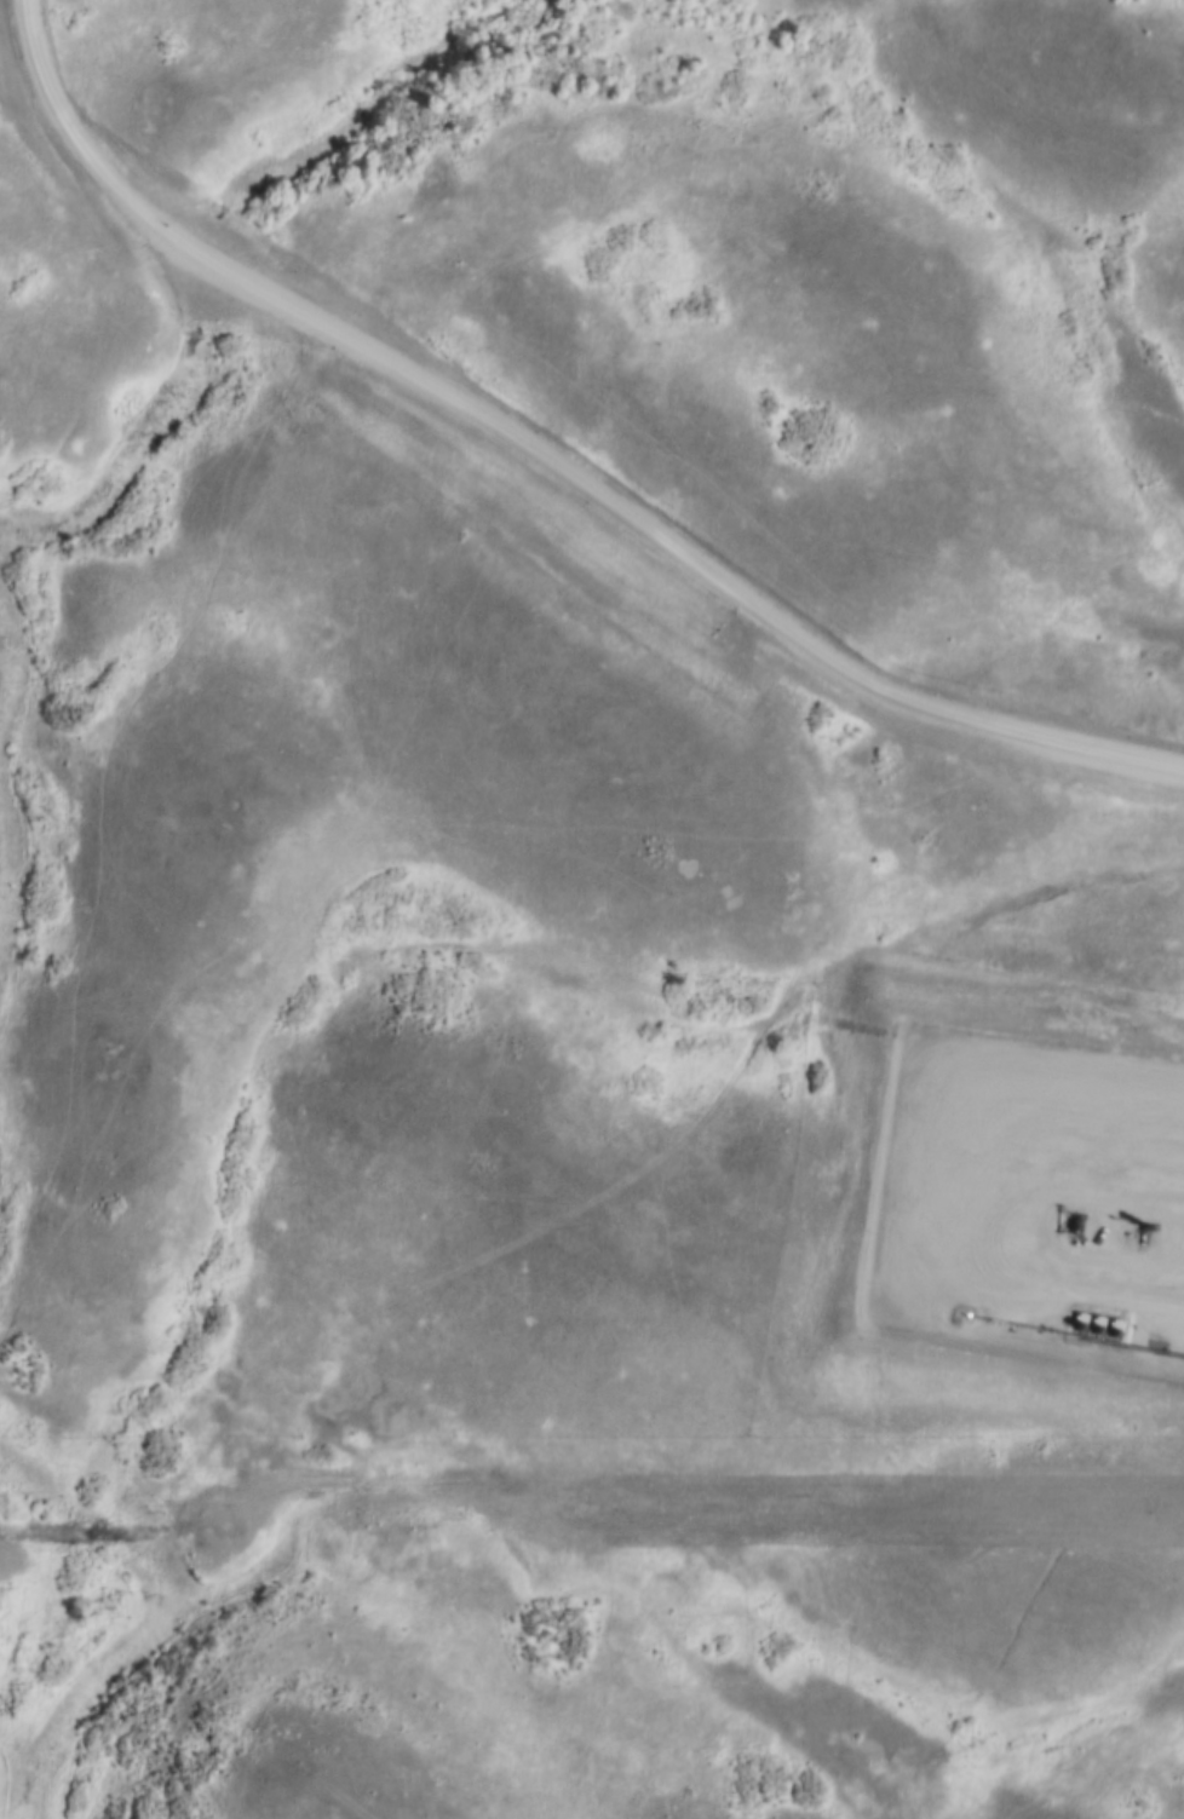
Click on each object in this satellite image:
petroleum well: (1068, 1224)
petroleum well: (1139, 1228)

